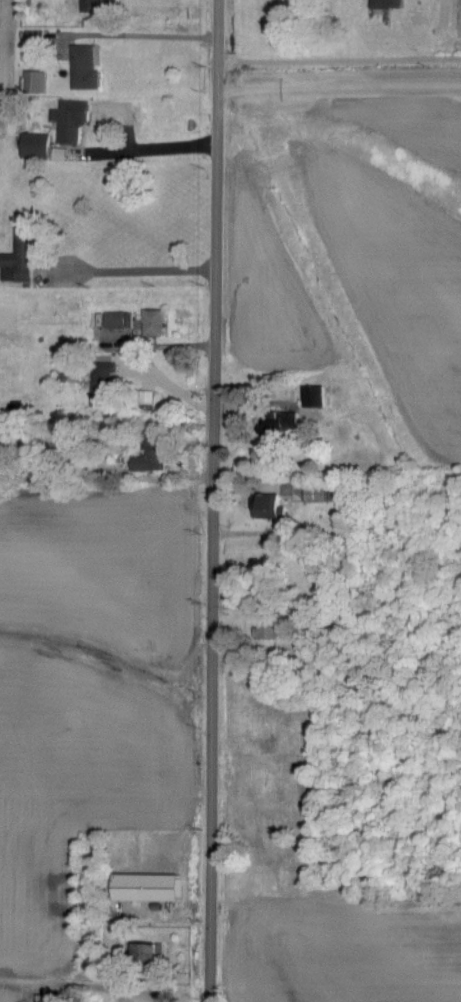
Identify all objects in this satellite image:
building: (393, 4)
building: (98, 5)
road: (157, 33)
building: (40, 38)
road: (339, 57)
building: (90, 68)
road: (339, 86)
building: (76, 120)
building: (41, 145)
road: (144, 146)
building: (26, 254)
road: (134, 267)
building: (123, 319)
building: (159, 323)
road: (170, 384)
building: (318, 396)
building: (276, 430)
building: (155, 455)
road: (213, 500)
building: (272, 506)
building: (154, 888)
building: (155, 956)
road: (119, 967)
building: (52, 998)

